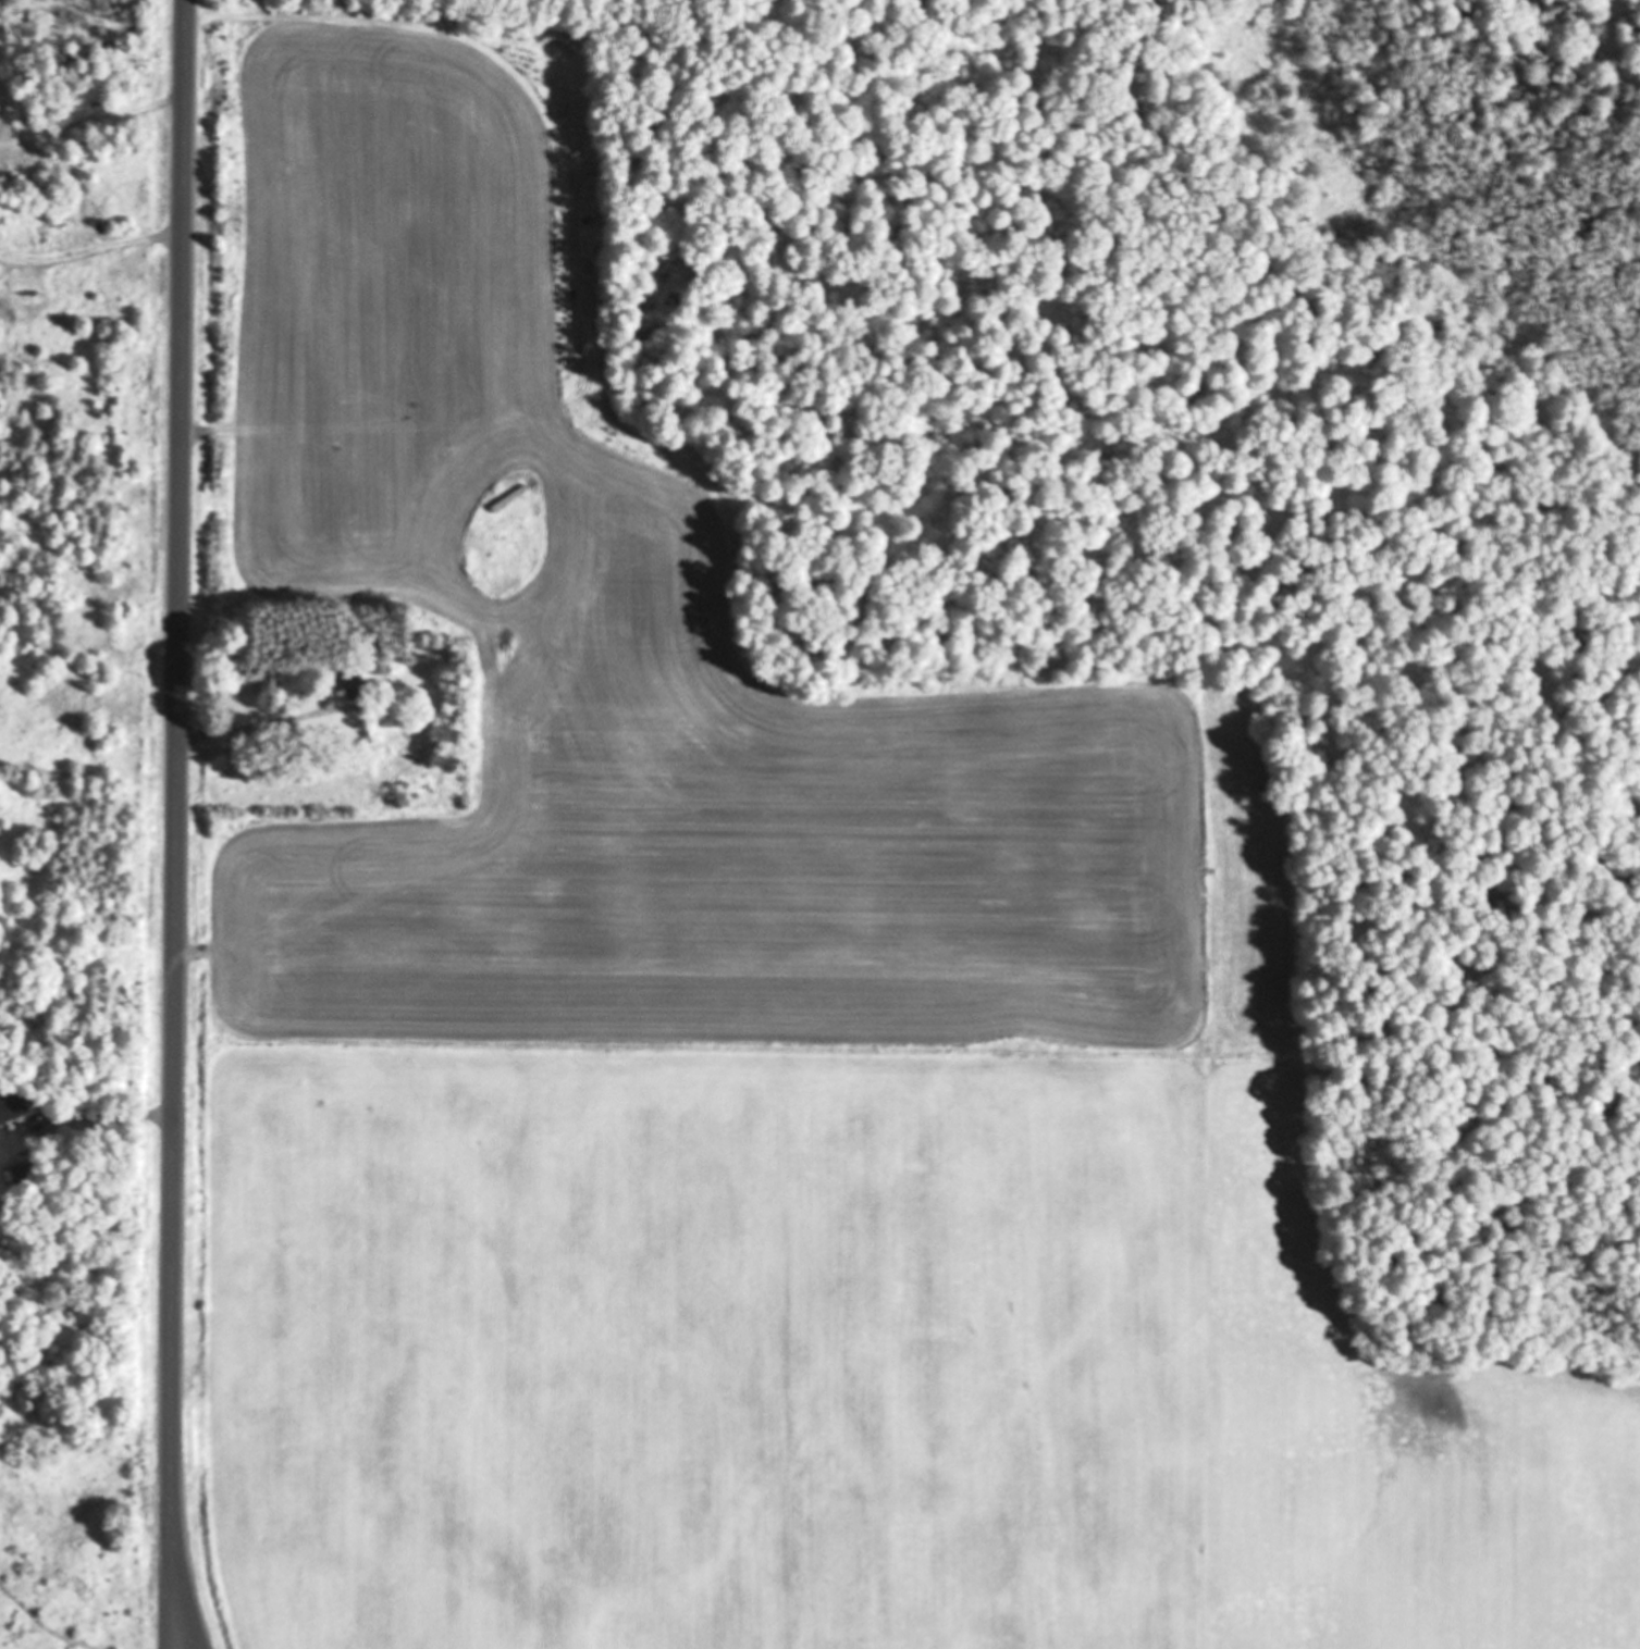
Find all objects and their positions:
building: (606, 324)
building: (350, 684)
road: (176, 826)
building: (12, 1107)
building: (25, 1177)
road: (177, 1632)

